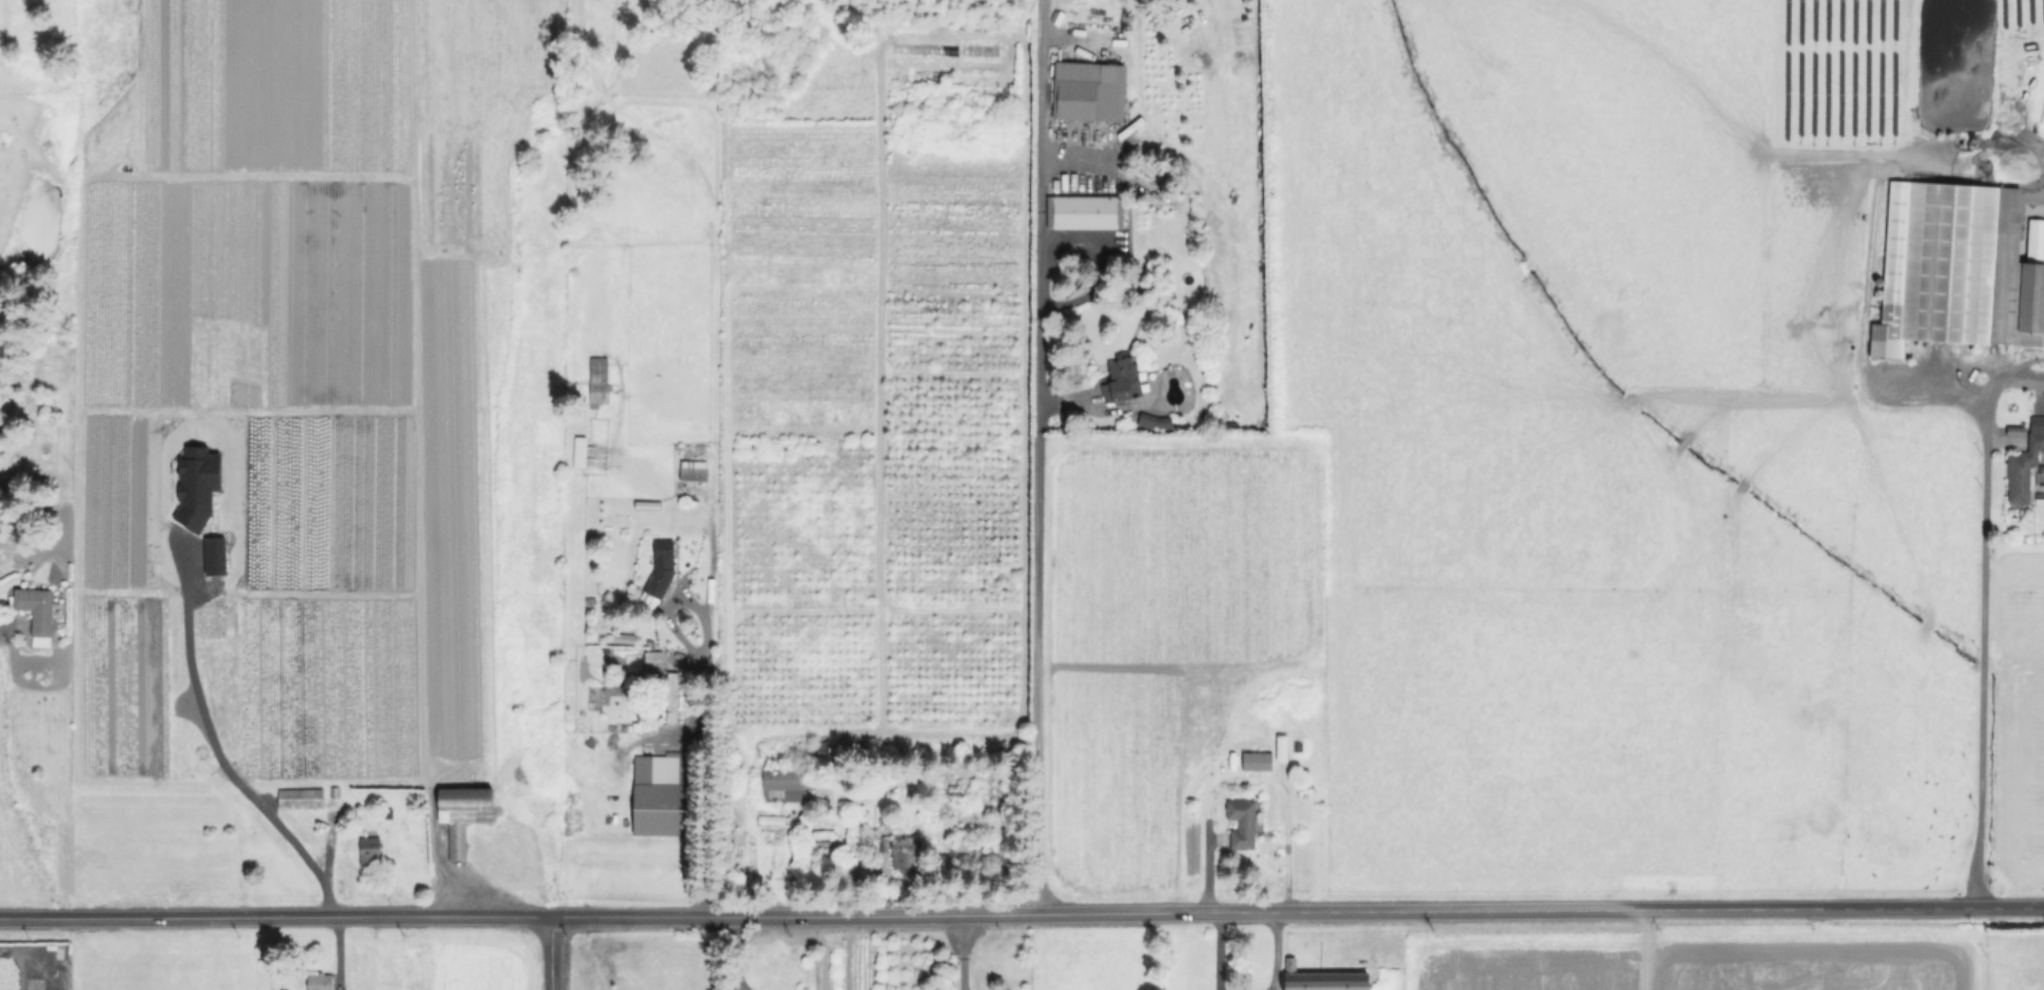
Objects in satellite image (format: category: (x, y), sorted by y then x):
building: (978, 49)
building: (1089, 91)
building: (1087, 212)
building: (596, 378)
building: (1124, 381)
building: (1156, 423)
building: (2014, 430)
crop: (1674, 444)
building: (2025, 468)
building: (691, 470)
road: (1038, 470)
building: (195, 486)
building: (213, 555)
building: (659, 567)
road: (1977, 614)
building: (39, 615)
building: (621, 637)
building: (651, 659)
building: (668, 697)
road: (705, 703)
road: (214, 747)
building: (1300, 748)
building: (794, 751)
building: (1285, 751)
building: (1258, 763)
building: (785, 785)
building: (658, 794)
building: (302, 800)
building: (464, 810)
building: (1243, 825)
building: (824, 844)
building: (371, 853)
building: (908, 854)
road: (1022, 912)
road: (726, 948)
road: (1217, 950)
road: (960, 951)
road: (1275, 951)
road: (552, 953)
crop: (1294, 966)
building: (1320, 978)
building: (320, 982)
road: (725, 986)
road: (730, 986)

